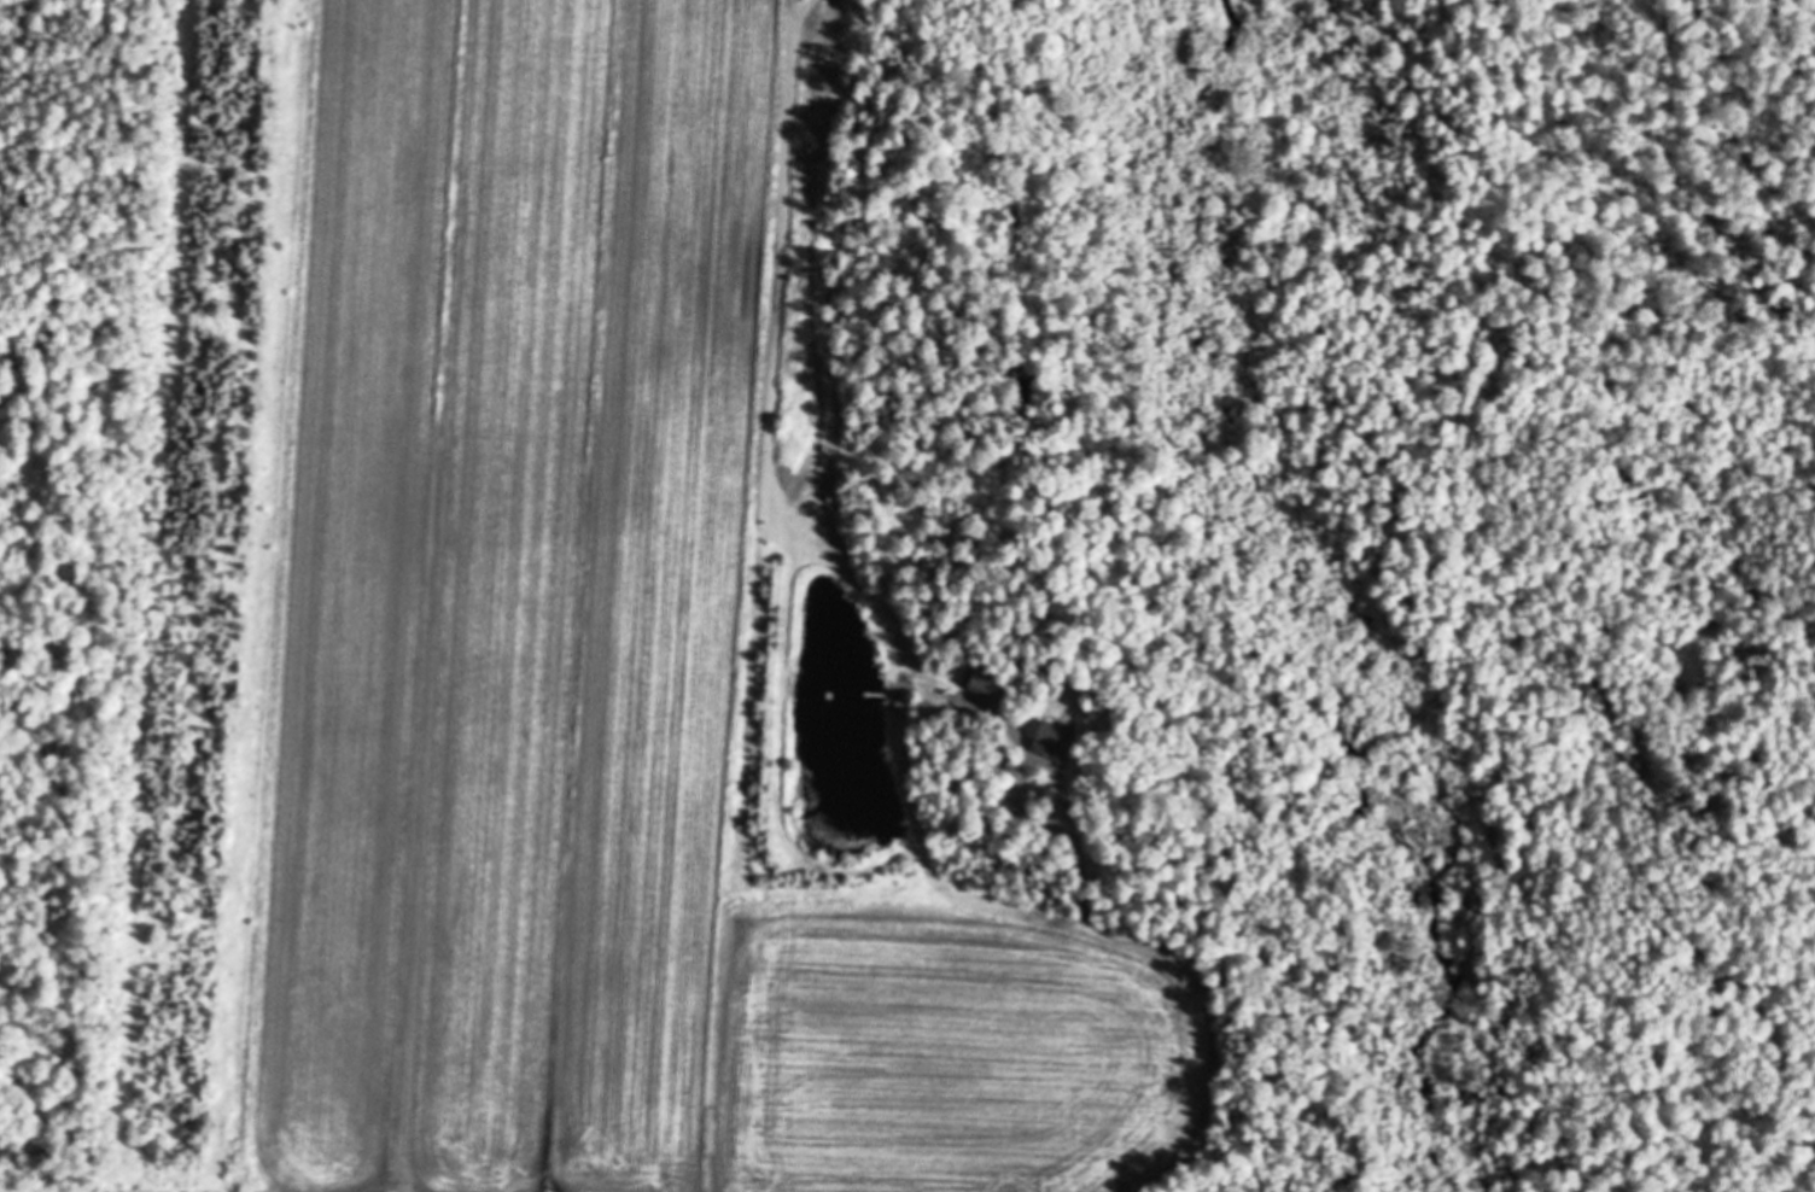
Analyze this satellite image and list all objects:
building: (986, 684)
building: (1052, 742)
road: (1140, 943)

